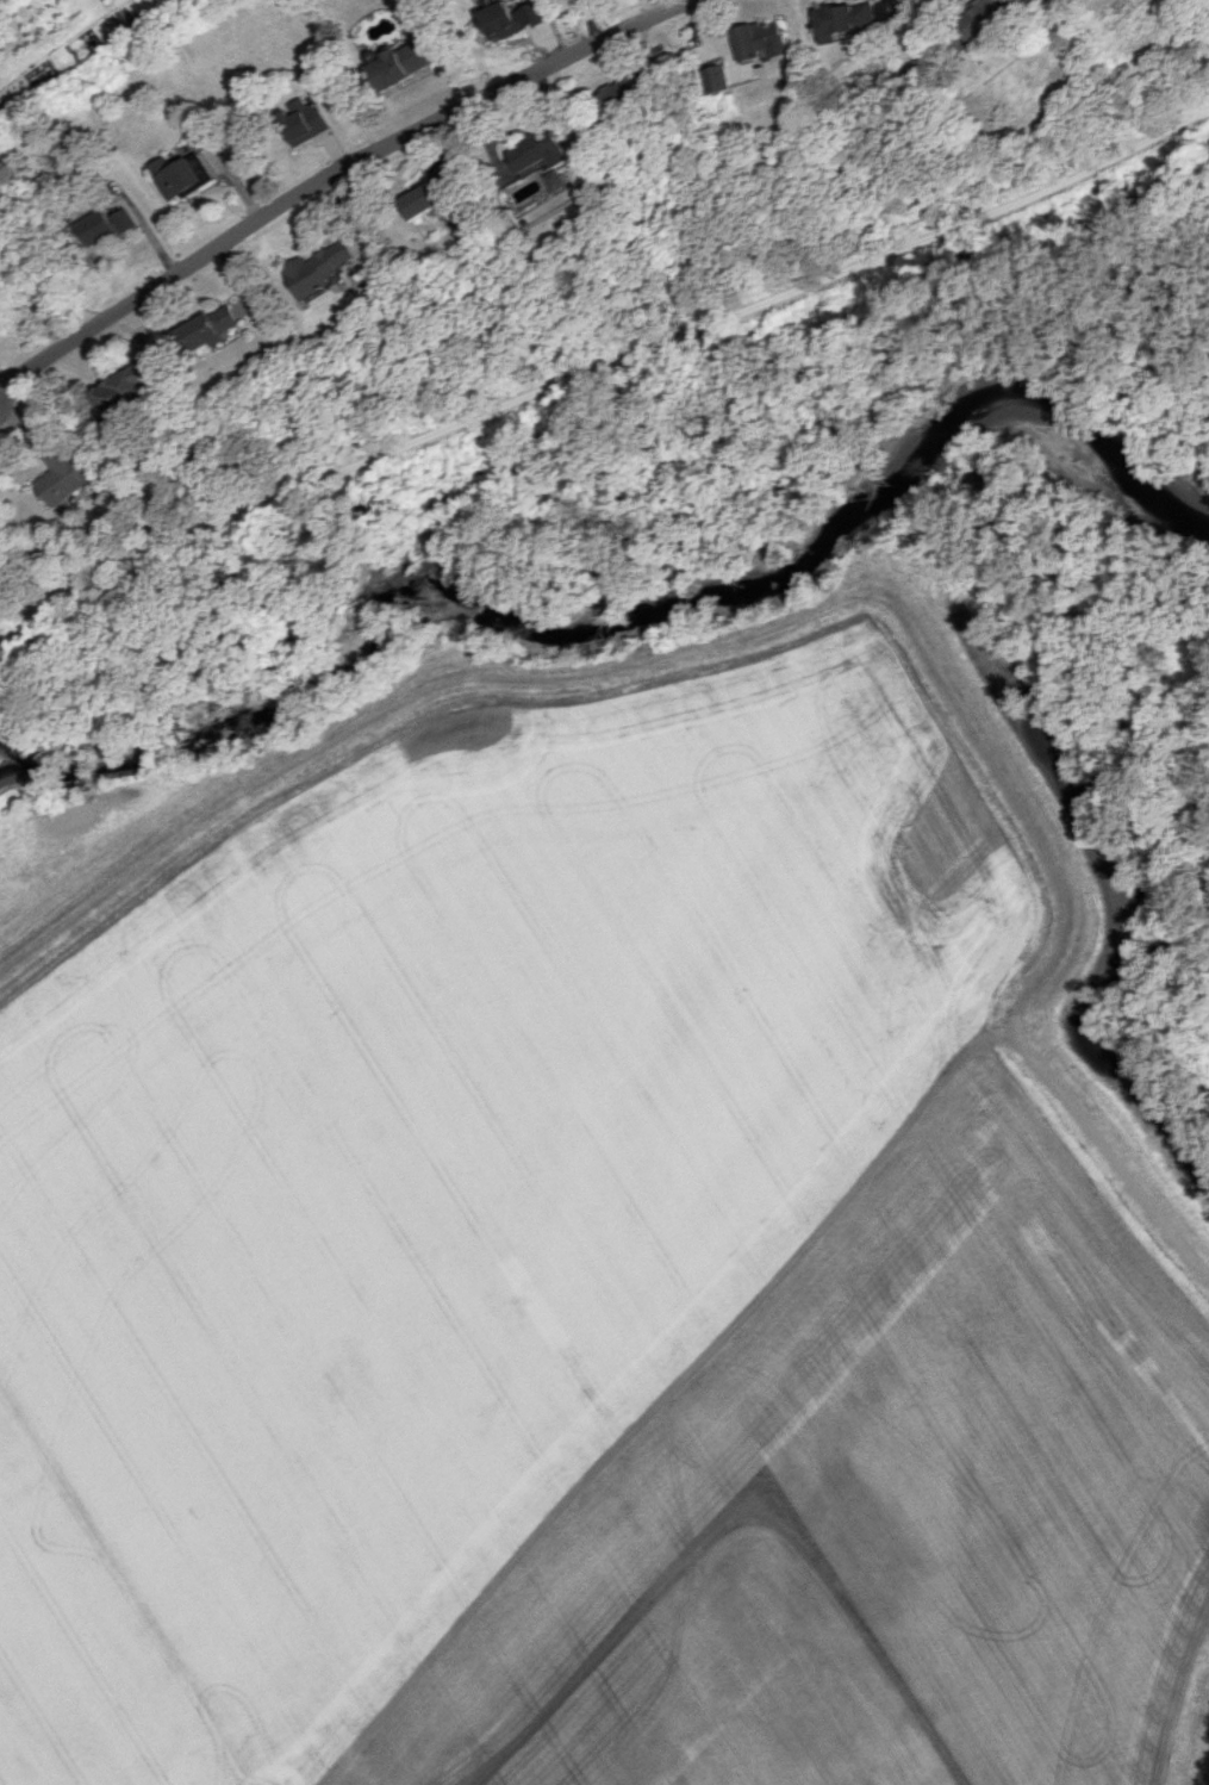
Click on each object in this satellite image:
road: (667, 4)
building: (511, 18)
building: (985, 18)
building: (846, 19)
road: (590, 21)
road: (940, 25)
building: (764, 39)
building: (399, 64)
building: (625, 89)
building: (305, 120)
building: (543, 149)
building: (512, 167)
road: (331, 173)
building: (182, 174)
building: (559, 179)
building: (430, 195)
building: (112, 228)
building: (320, 267)
building: (212, 326)
road: (599, 372)
building: (131, 388)
building: (64, 475)
road: (797, 620)
crop: (584, 1288)
road: (666, 1397)

